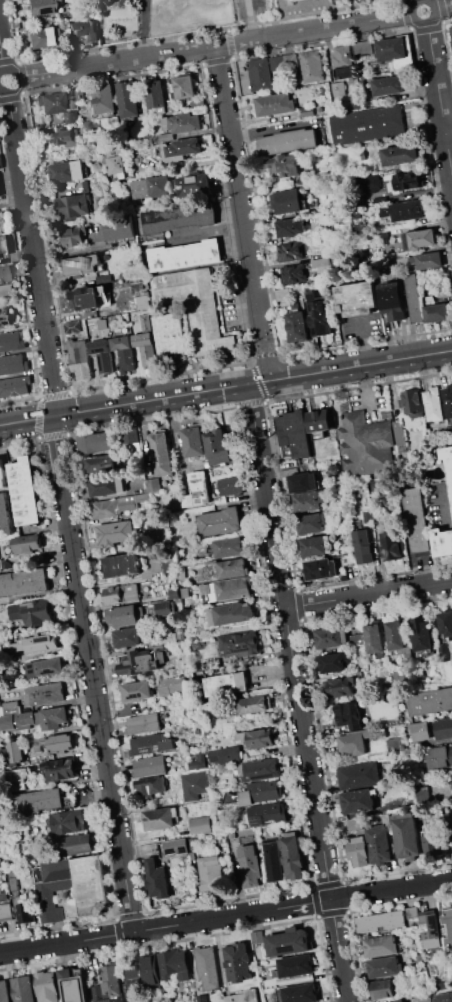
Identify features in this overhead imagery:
building: (284, 0)
road: (443, 6)
building: (40, 7)
parking lot: (247, 11)
park: (186, 15)
road: (250, 19)
road: (423, 22)
building: (86, 29)
building: (450, 33)
road: (179, 36)
building: (39, 38)
road: (142, 40)
building: (70, 42)
road: (214, 46)
building: (363, 47)
building: (396, 52)
road: (1, 60)
building: (291, 61)
building: (342, 62)
road: (8, 63)
building: (277, 63)
building: (312, 66)
building: (260, 75)
road: (20, 78)
road: (15, 81)
building: (388, 85)
building: (185, 87)
building: (338, 88)
building: (71, 92)
road: (11, 95)
building: (156, 96)
road: (439, 98)
building: (104, 99)
building: (128, 99)
building: (51, 103)
building: (275, 104)
building: (357, 105)
building: (306, 111)
building: (184, 125)
building: (368, 125)
building: (90, 127)
road: (448, 131)
building: (167, 137)
building: (61, 138)
building: (288, 141)
building: (181, 148)
building: (359, 155)
building: (401, 155)
building: (115, 161)
building: (283, 167)
building: (67, 172)
building: (410, 180)
building: (371, 183)
building: (195, 185)
building: (152, 187)
road: (240, 199)
building: (287, 201)
building: (73, 207)
building: (403, 210)
building: (180, 217)
building: (291, 226)
building: (119, 227)
building: (0, 229)
building: (73, 235)
road: (31, 238)
building: (422, 238)
building: (1, 246)
building: (290, 252)
building: (185, 256)
building: (430, 260)
building: (320, 262)
building: (81, 265)
building: (3, 274)
building: (294, 274)
building: (4, 291)
building: (282, 294)
building: (96, 298)
building: (356, 299)
building: (415, 299)
building: (393, 301)
building: (142, 302)
building: (197, 308)
building: (437, 312)
building: (5, 315)
building: (319, 315)
building: (146, 322)
building: (73, 326)
building: (297, 326)
building: (170, 334)
building: (11, 341)
road: (364, 343)
building: (145, 348)
building: (124, 352)
building: (102, 355)
building: (80, 360)
building: (13, 364)
road: (268, 366)
building: (15, 386)
road: (225, 387)
building: (448, 400)
road: (55, 401)
building: (413, 403)
building: (433, 404)
building: (319, 421)
building: (449, 429)
building: (294, 432)
road: (176, 433)
building: (398, 435)
building: (130, 436)
building: (193, 442)
building: (96, 443)
building: (366, 446)
building: (218, 448)
building: (161, 454)
building: (447, 457)
building: (101, 465)
building: (2, 475)
building: (301, 483)
building: (153, 485)
building: (104, 486)
building: (230, 486)
building: (173, 488)
building: (24, 491)
building: (200, 491)
building: (132, 501)
building: (307, 501)
building: (106, 508)
building: (4, 516)
building: (416, 519)
building: (219, 521)
building: (311, 524)
building: (115, 533)
building: (443, 543)
building: (25, 544)
building: (316, 546)
building: (363, 546)
building: (390, 546)
building: (228, 547)
building: (168, 564)
building: (1, 565)
building: (121, 565)
building: (224, 569)
building: (321, 569)
building: (181, 572)
building: (23, 582)
building: (232, 588)
building: (185, 592)
building: (121, 593)
building: (174, 594)
road: (368, 594)
building: (163, 608)
building: (33, 611)
building: (232, 614)
building: (123, 616)
building: (446, 623)
building: (422, 633)
building: (180, 634)
building: (128, 637)
building: (331, 637)
building: (165, 638)
building: (374, 638)
building: (359, 640)
building: (398, 640)
building: (36, 643)
building: (239, 643)
building: (198, 645)
building: (444, 651)
building: (141, 661)
building: (335, 662)
building: (214, 663)
building: (46, 667)
road: (92, 674)
building: (171, 684)
building: (226, 684)
building: (341, 686)
building: (137, 690)
road: (297, 692)
building: (44, 694)
building: (430, 701)
building: (253, 704)
building: (12, 707)
building: (352, 715)
building: (53, 717)
building: (18, 721)
building: (143, 723)
building: (443, 728)
building: (421, 731)
building: (241, 737)
building: (261, 737)
building: (360, 739)
building: (61, 742)
building: (395, 742)
building: (151, 744)
building: (16, 751)
building: (226, 756)
building: (440, 757)
building: (199, 761)
building: (150, 766)
building: (60, 769)
building: (259, 769)
building: (359, 775)
building: (19, 779)
building: (195, 785)
building: (151, 786)
building: (256, 793)
building: (423, 795)
building: (44, 801)
building: (357, 802)
building: (268, 814)
building: (160, 818)
building: (386, 818)
building: (68, 822)
building: (354, 824)
building: (451, 824)
building: (200, 825)
building: (232, 835)
building: (407, 835)
building: (378, 844)
building: (432, 844)
building: (75, 845)
building: (233, 845)
building: (176, 846)
building: (359, 851)
building: (292, 856)
building: (273, 860)
building: (250, 866)
building: (13, 871)
building: (211, 873)
building: (3, 878)
building: (156, 879)
building: (14, 883)
building: (71, 885)
road: (411, 886)
road: (350, 895)
building: (5, 911)
building: (26, 911)
building: (412, 912)
building: (380, 921)
road: (165, 926)
building: (431, 928)
building: (451, 930)
building: (258, 937)
building: (289, 941)
building: (381, 945)
building: (238, 962)
building: (173, 964)
building: (294, 966)
building: (386, 966)
building: (207, 967)
building: (149, 968)
building: (133, 980)
building: (111, 981)
building: (445, 984)
building: (74, 985)
building: (46, 987)
building: (383, 988)
building: (22, 989)
building: (4, 991)
building: (300, 993)
building: (245, 996)
building: (425, 997)
building: (443, 997)
building: (203, 998)
building: (399, 1000)

